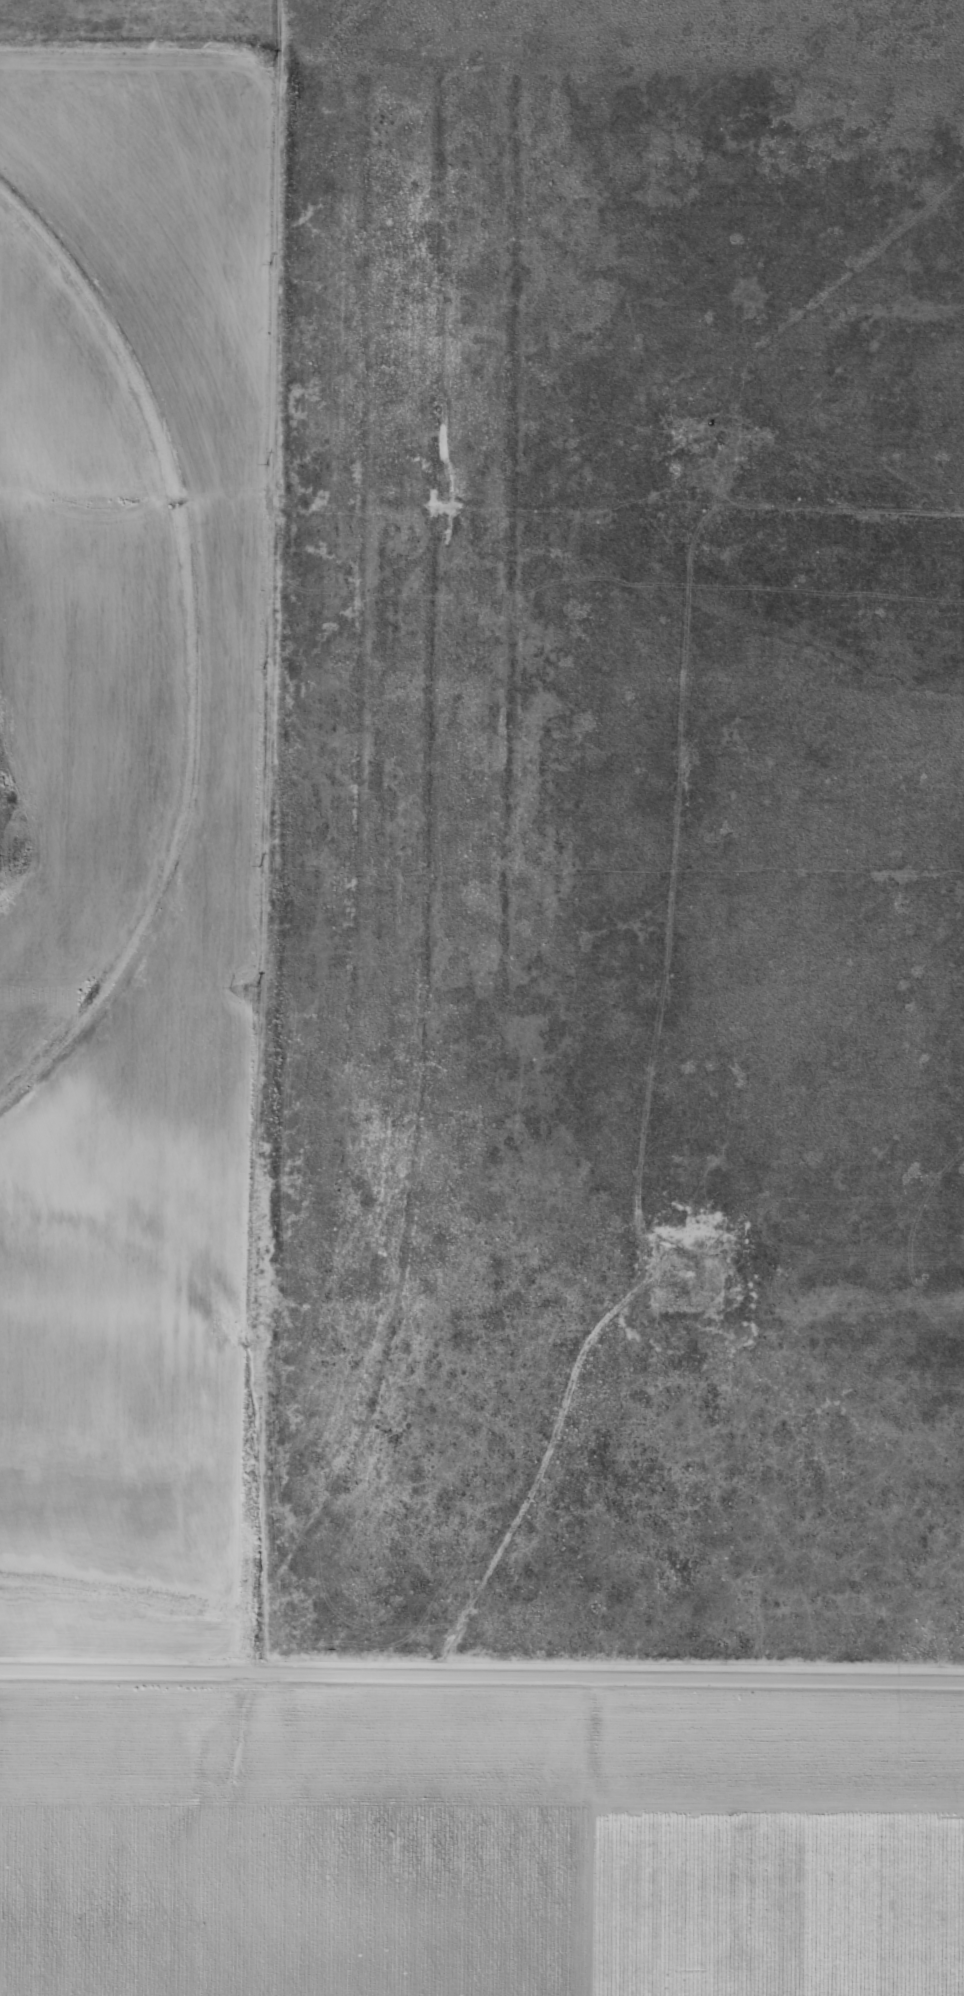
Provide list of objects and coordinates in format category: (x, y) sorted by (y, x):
road: (481, 88)
road: (481, 1674)

